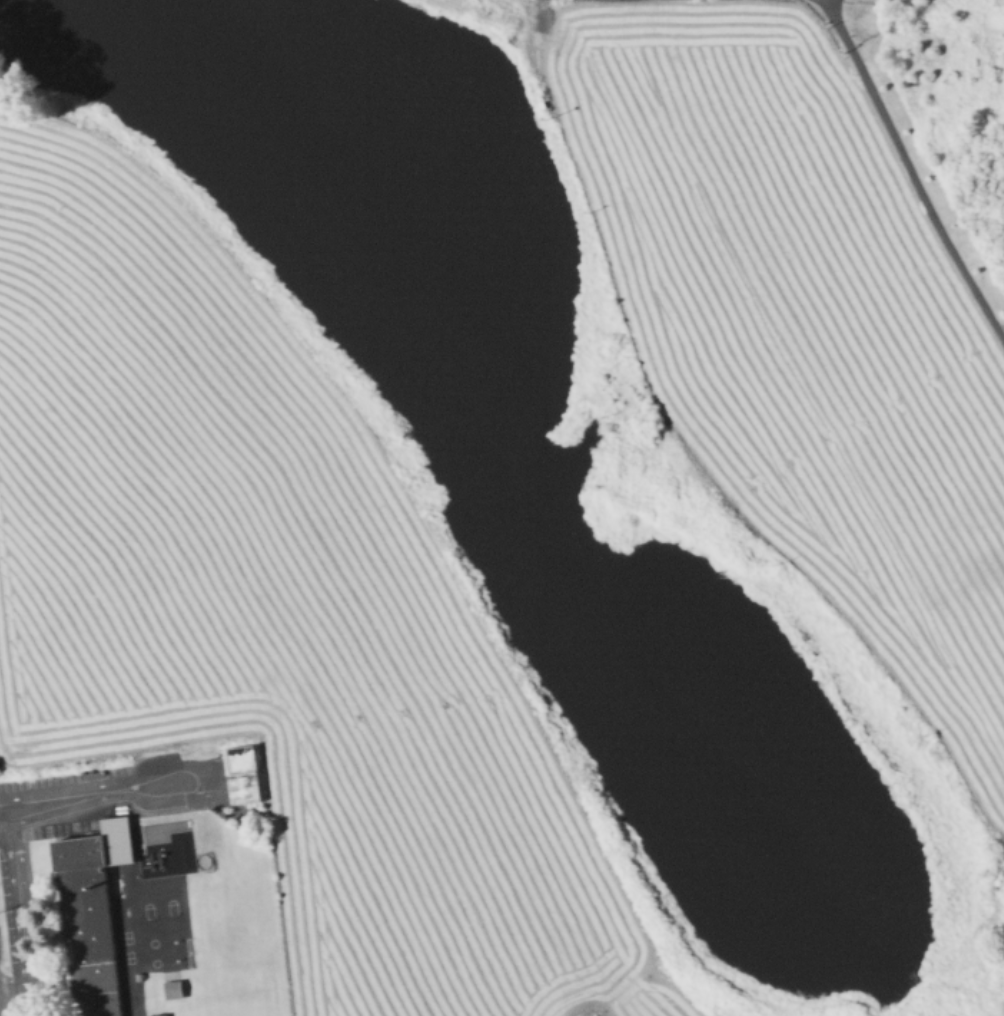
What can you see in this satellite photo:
road: (912, 168)
crop: (262, 614)
road: (202, 766)
building: (240, 774)
road: (5, 822)
park: (202, 859)
road: (17, 906)
park: (171, 906)
park: (147, 909)
building: (90, 914)
park: (123, 936)
park: (152, 941)
park: (126, 956)
park: (154, 961)
building: (137, 975)
building: (172, 989)
crop: (642, 994)
road: (25, 1003)
building: (158, 1014)

